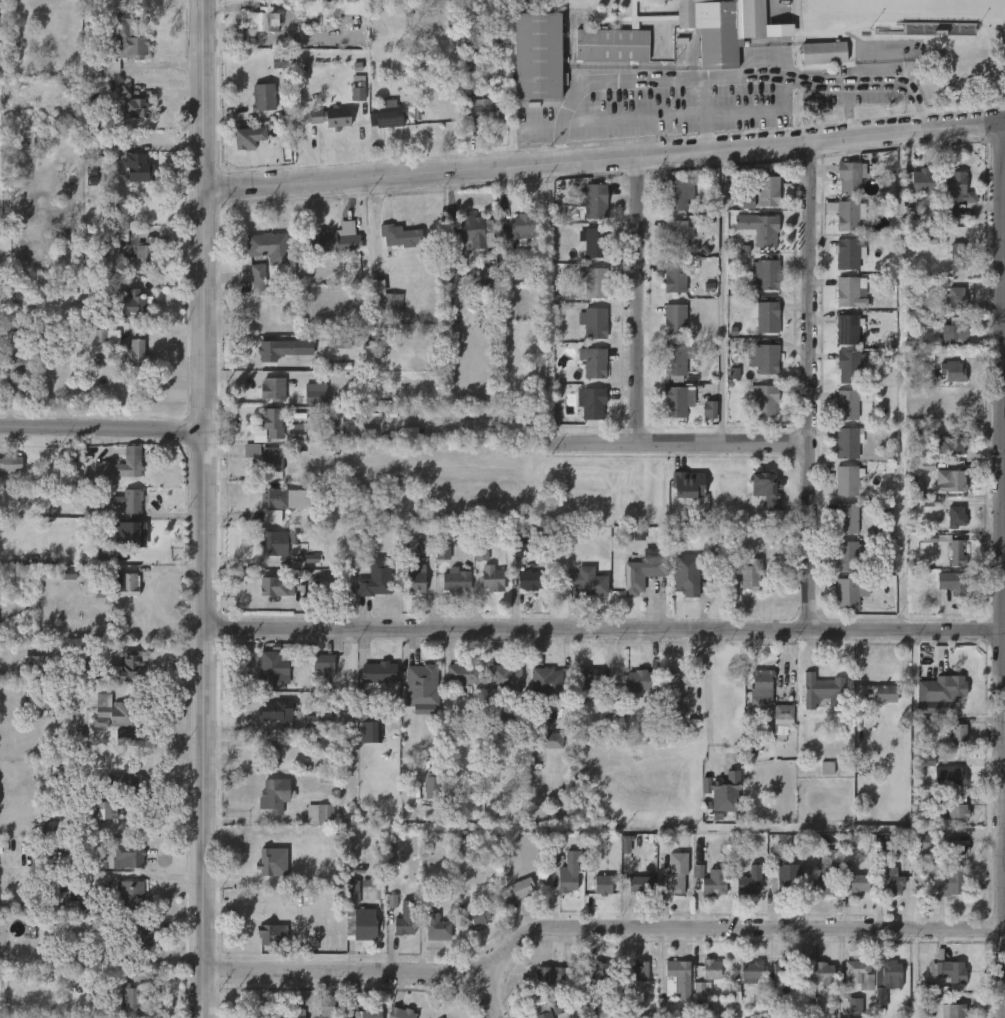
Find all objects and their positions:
building: (482, 11)
building: (316, 17)
building: (260, 19)
building: (748, 35)
building: (121, 43)
building: (824, 52)
building: (541, 57)
building: (280, 61)
building: (470, 63)
road: (670, 77)
road: (900, 83)
building: (358, 94)
road: (703, 96)
building: (262, 97)
road: (657, 97)
building: (131, 103)
building: (482, 110)
road: (847, 111)
road: (760, 112)
building: (391, 114)
building: (330, 116)
road: (681, 116)
road: (609, 119)
road: (705, 132)
road: (659, 135)
building: (247, 137)
road: (605, 158)
building: (128, 162)
building: (851, 176)
building: (920, 181)
building: (767, 191)
building: (955, 193)
building: (677, 194)
building: (594, 200)
building: (746, 201)
building: (556, 210)
building: (915, 214)
building: (849, 215)
building: (759, 228)
building: (520, 233)
building: (120, 234)
building: (467, 234)
building: (677, 234)
building: (400, 235)
building: (928, 238)
building: (335, 240)
building: (593, 242)
building: (268, 246)
building: (848, 253)
building: (139, 256)
building: (958, 257)
building: (487, 273)
building: (766, 274)
building: (676, 276)
building: (258, 279)
building: (594, 282)
building: (91, 284)
building: (480, 289)
building: (848, 290)
road: (722, 295)
building: (956, 298)
road: (638, 299)
building: (387, 301)
building: (137, 303)
building: (767, 317)
building: (674, 319)
building: (593, 323)
building: (927, 323)
building: (848, 329)
building: (953, 332)
building: (103, 335)
building: (273, 350)
building: (135, 354)
building: (764, 359)
building: (16, 360)
building: (593, 362)
building: (676, 362)
building: (849, 366)
building: (953, 371)
building: (733, 373)
road: (809, 386)
building: (272, 389)
building: (315, 394)
building: (764, 399)
building: (677, 401)
building: (592, 402)
building: (849, 404)
building: (709, 409)
building: (273, 423)
road: (1004, 424)
road: (103, 429)
building: (298, 430)
building: (410, 433)
building: (848, 442)
road: (678, 443)
building: (948, 444)
building: (271, 459)
building: (129, 463)
building: (9, 464)
building: (849, 480)
building: (951, 481)
building: (688, 485)
building: (767, 489)
building: (128, 501)
building: (281, 502)
road: (207, 508)
building: (956, 517)
building: (848, 518)
building: (126, 533)
building: (639, 534)
building: (936, 539)
building: (276, 542)
building: (425, 547)
building: (519, 550)
building: (443, 553)
building: (960, 553)
building: (848, 556)
road: (1004, 570)
building: (68, 574)
building: (642, 574)
building: (753, 574)
building: (687, 576)
building: (375, 579)
building: (415, 579)
building: (491, 579)
building: (456, 580)
building: (531, 580)
building: (586, 581)
building: (954, 583)
building: (119, 586)
building: (276, 586)
building: (847, 594)
road: (605, 630)
building: (127, 668)
building: (275, 669)
building: (86, 671)
building: (323, 672)
building: (463, 673)
building: (378, 674)
building: (505, 678)
building: (637, 680)
building: (546, 681)
building: (762, 681)
building: (588, 683)
building: (421, 684)
building: (49, 688)
building: (944, 688)
building: (824, 690)
building: (674, 692)
building: (886, 692)
building: (613, 693)
road: (709, 693)
building: (612, 710)
building: (277, 714)
building: (783, 714)
building: (117, 717)
building: (345, 717)
building: (370, 725)
building: (957, 736)
building: (550, 739)
building: (268, 751)
building: (930, 760)
building: (827, 768)
building: (862, 768)
building: (952, 775)
building: (327, 777)
building: (123, 783)
building: (433, 786)
building: (274, 794)
building: (724, 794)
building: (106, 809)
building: (957, 812)
building: (319, 813)
building: (53, 825)
road: (1004, 831)
building: (925, 847)
building: (957, 848)
building: (129, 855)
building: (700, 857)
building: (269, 863)
building: (676, 871)
building: (379, 873)
building: (824, 873)
building: (568, 876)
building: (785, 878)
building: (747, 881)
building: (854, 881)
building: (714, 882)
building: (948, 882)
building: (889, 883)
building: (639, 884)
building: (602, 885)
building: (522, 887)
building: (361, 890)
building: (426, 896)
building: (132, 897)
building: (475, 915)
building: (404, 918)
building: (366, 926)
road: (595, 927)
building: (438, 928)
building: (133, 933)
building: (272, 934)
building: (710, 968)
building: (857, 968)
building: (783, 970)
building: (751, 971)
building: (946, 971)
building: (894, 973)
building: (548, 975)
building: (600, 977)
building: (631, 979)
building: (677, 979)
building: (828, 985)
building: (702, 989)
road: (488, 998)
building: (125, 1003)
building: (850, 1005)
building: (331, 1006)
building: (282, 1010)
building: (953, 1010)
building: (542, 1011)
building: (368, 1013)
building: (402, 1013)

